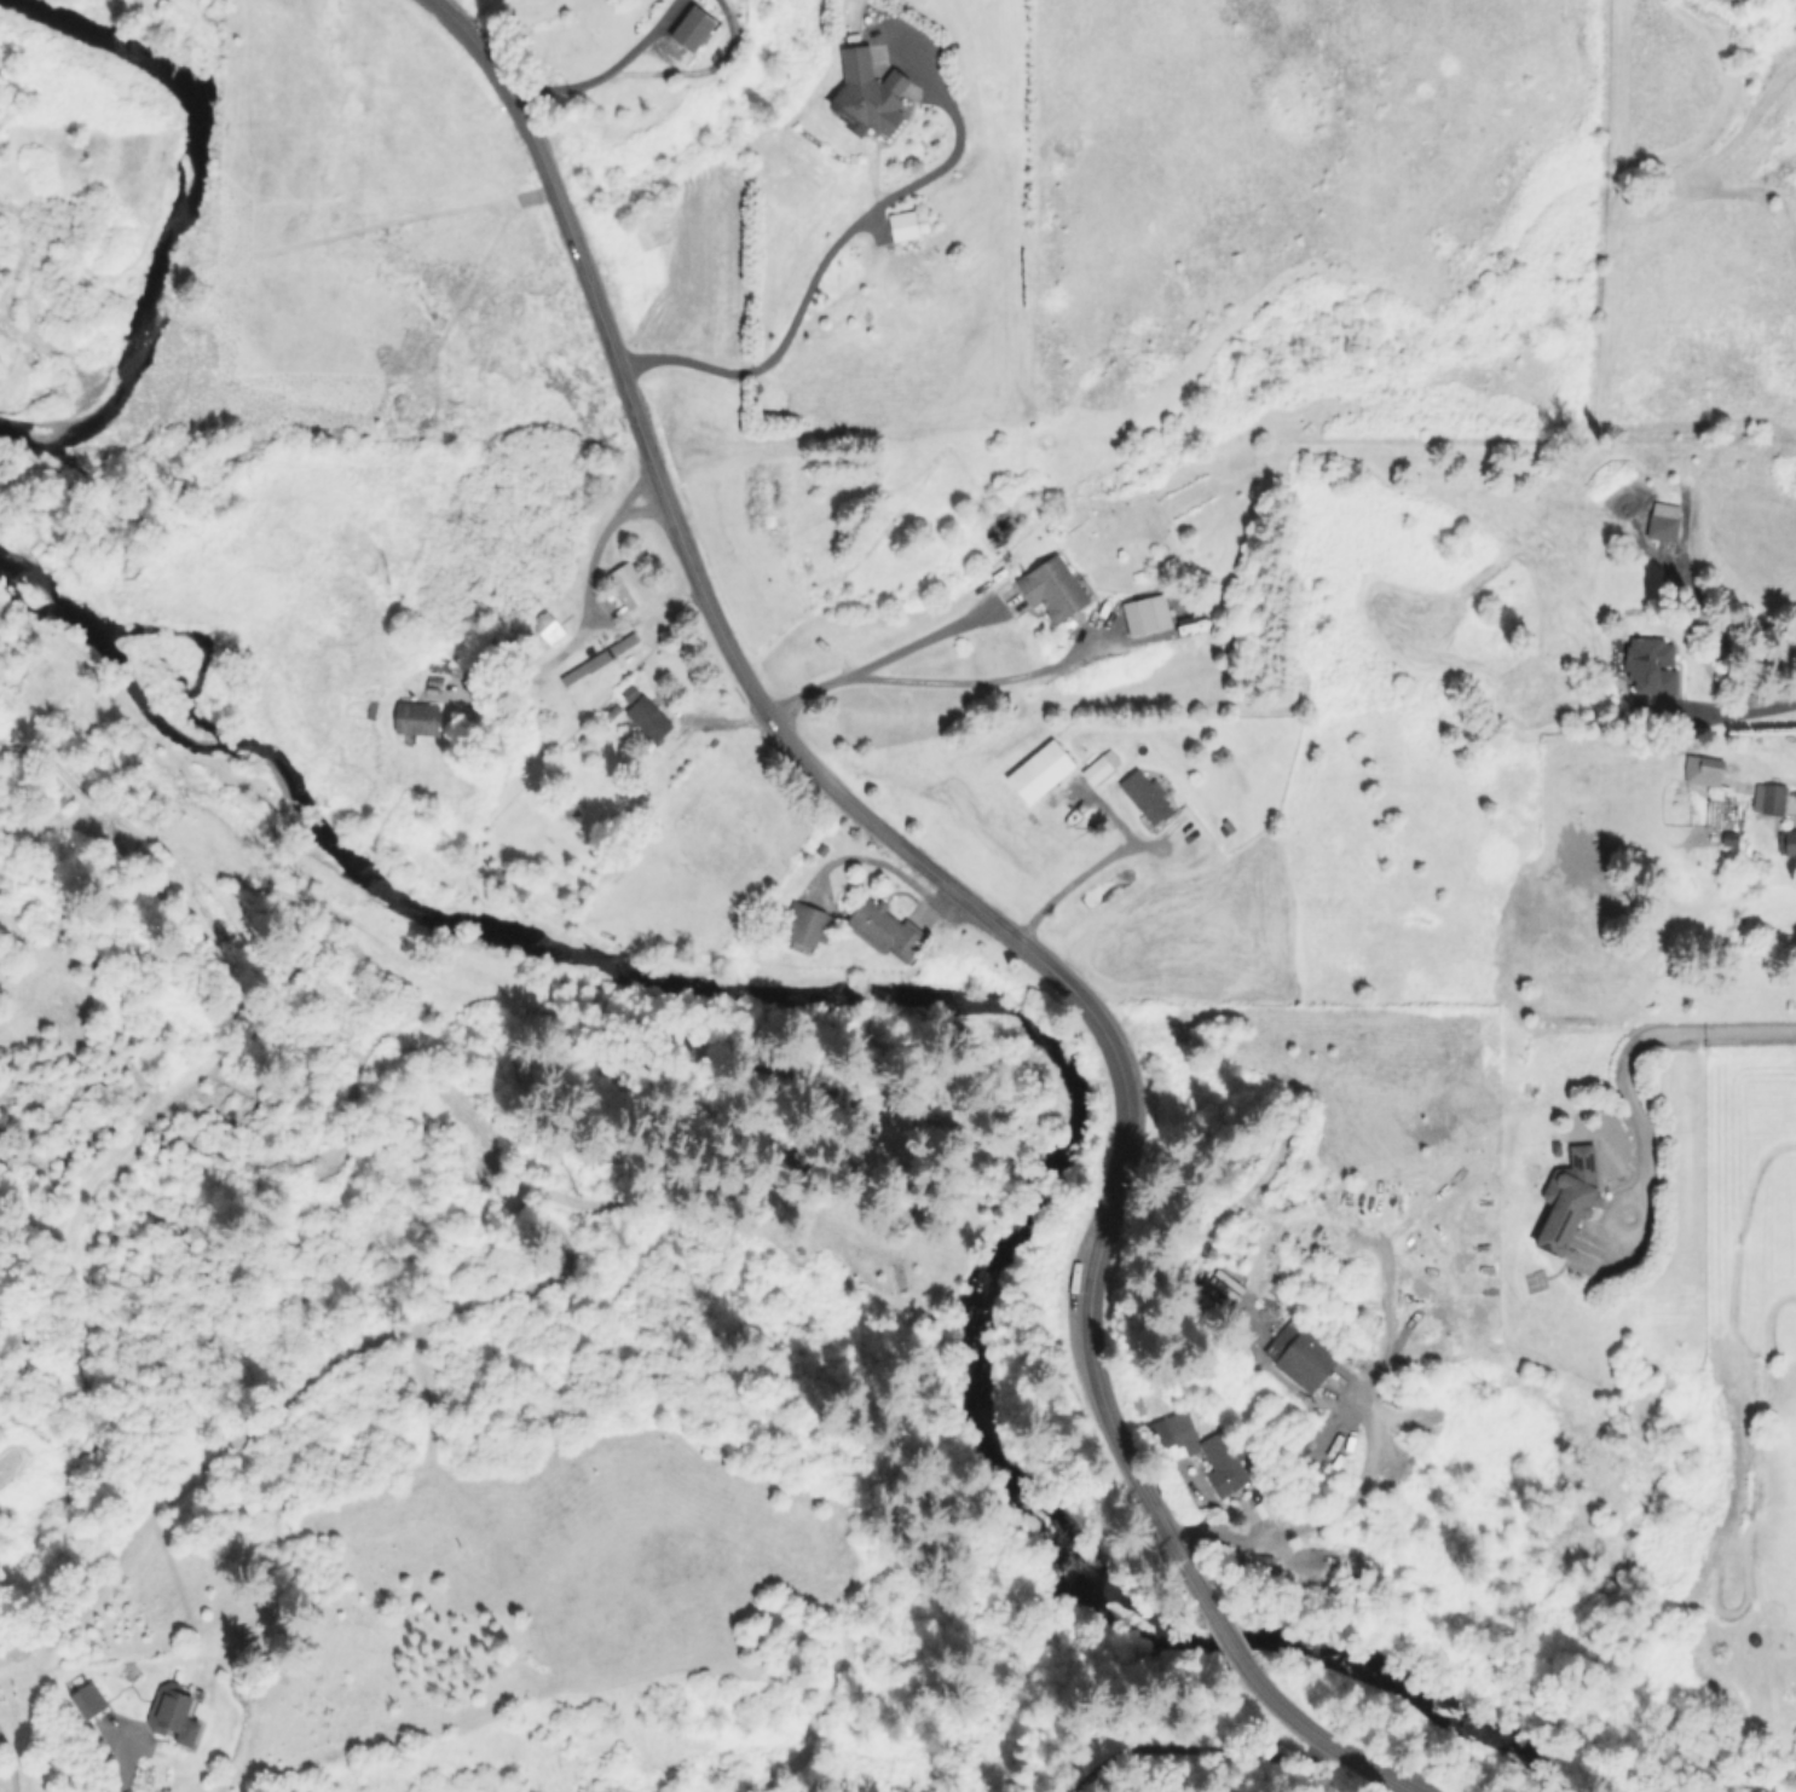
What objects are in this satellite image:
building: (692, 28)
road: (607, 70)
building: (868, 91)
building: (906, 224)
road: (812, 283)
building: (1661, 521)
road: (588, 567)
building: (626, 584)
building: (1051, 588)
road: (642, 614)
building: (1144, 614)
road: (885, 657)
building: (597, 659)
building: (1648, 665)
road: (1732, 711)
building: (415, 717)
building: (646, 717)
building: (1099, 765)
building: (1038, 770)
building: (1700, 770)
building: (1144, 796)
building: (1767, 798)
road: (866, 816)
building: (1785, 842)
road: (1082, 883)
building: (801, 927)
building: (884, 929)
road: (1639, 1039)
building: (1566, 1198)
building: (1299, 1354)
building: (1202, 1450)
road: (1317, 1520)
road: (1224, 1636)
building: (86, 1699)
building: (173, 1711)
road: (1318, 1736)
road: (123, 1768)

